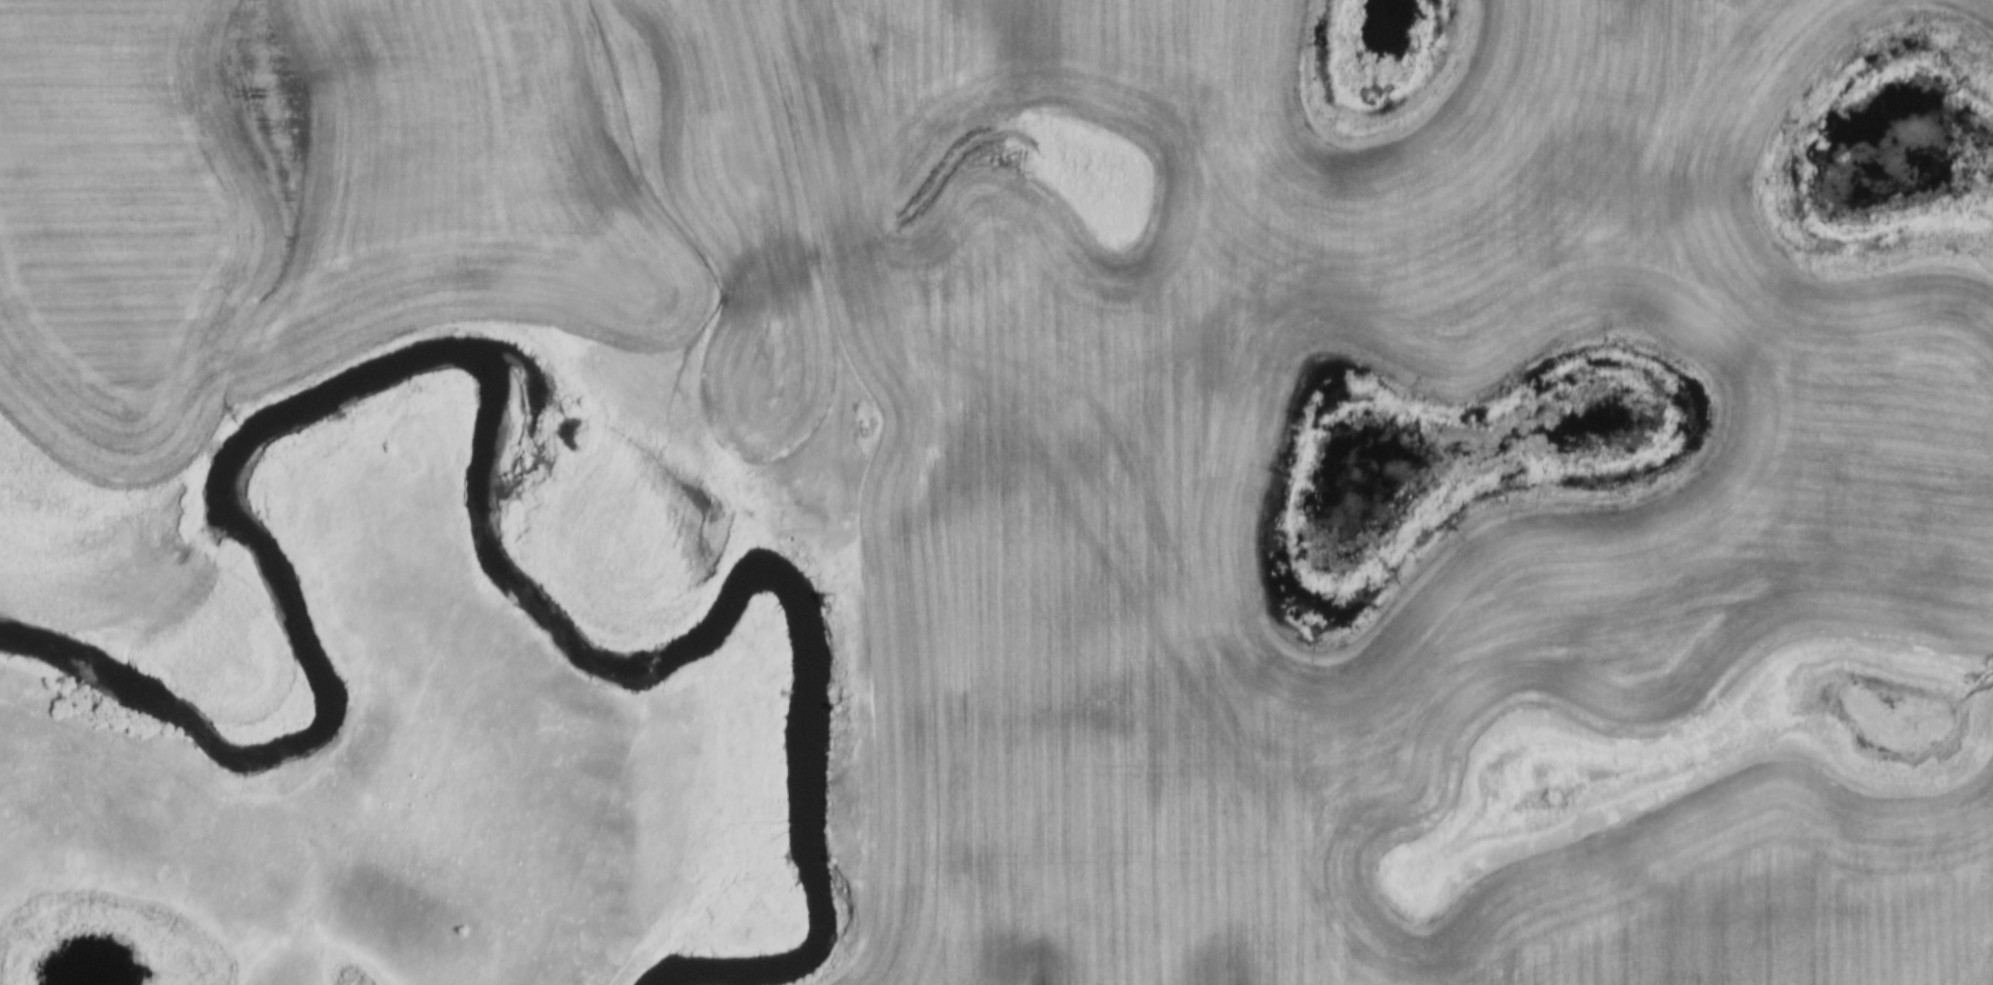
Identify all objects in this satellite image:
river: (484, 431)

